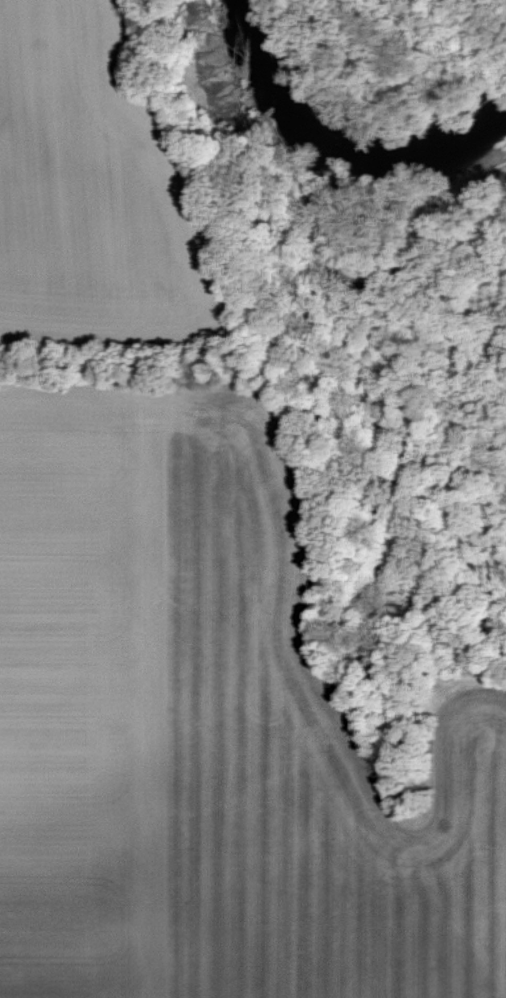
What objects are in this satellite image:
river: (332, 145)

